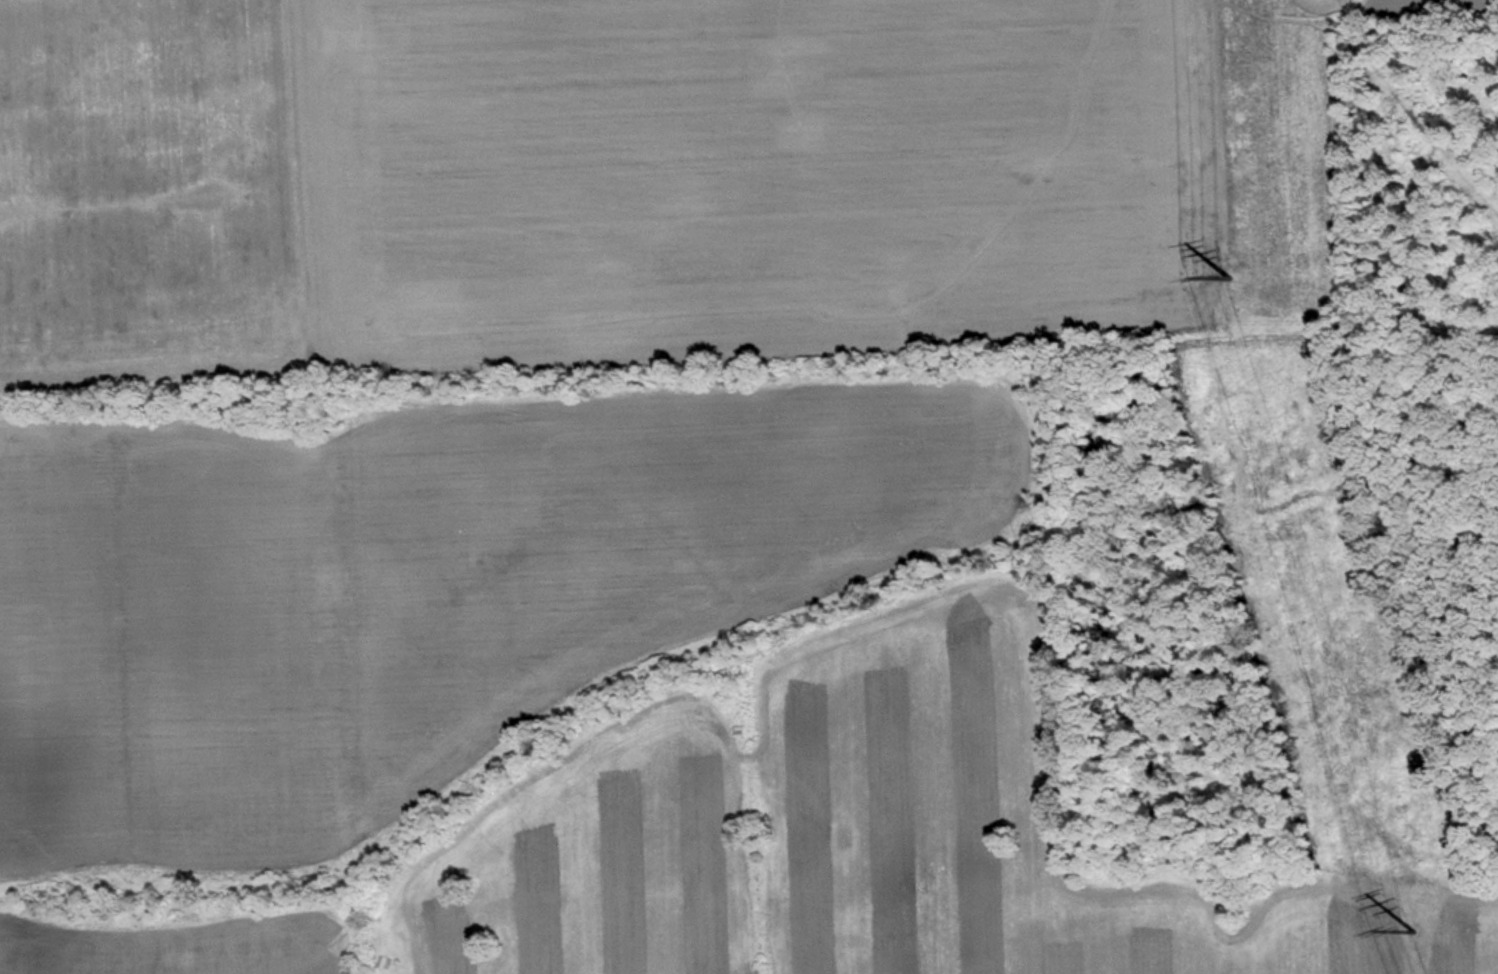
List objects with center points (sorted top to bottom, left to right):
power tower: (1224, 278)
power tower: (1420, 934)

